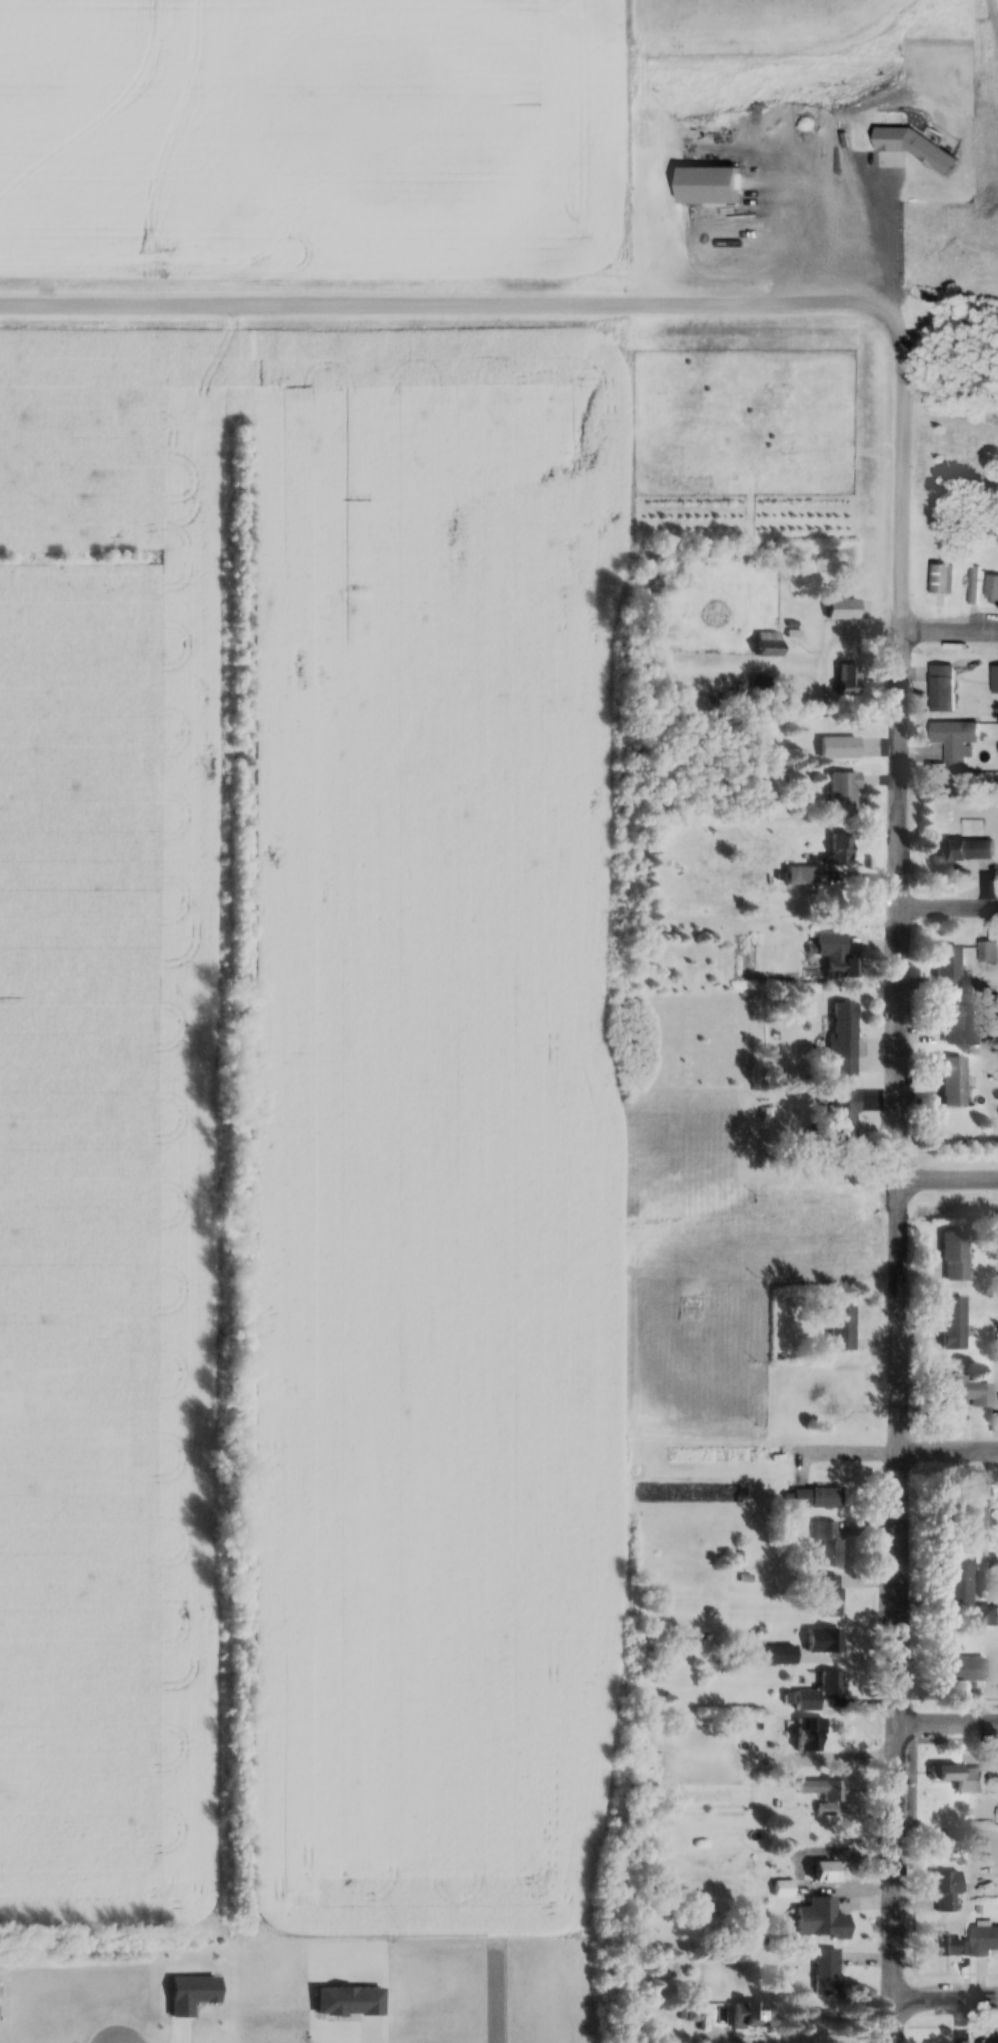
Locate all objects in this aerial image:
road: (439, 300)
building: (940, 579)
building: (975, 585)
building: (991, 589)
building: (839, 610)
road: (950, 627)
building: (845, 677)
building: (994, 680)
building: (942, 690)
building: (787, 696)
building: (949, 740)
building: (837, 748)
building: (840, 793)
building: (837, 848)
building: (964, 849)
building: (802, 876)
road: (949, 902)
building: (987, 952)
building: (831, 955)
building: (944, 969)
building: (949, 1020)
building: (841, 1040)
building: (947, 1080)
building: (842, 1115)
road: (899, 1170)
road: (949, 1170)
building: (951, 1256)
building: (950, 1324)
building: (838, 1328)
building: (962, 1393)
road: (835, 1446)
road: (948, 1446)
building: (823, 1498)
building: (827, 1544)
building: (956, 1582)
building: (828, 1596)
building: (986, 1616)
building: (828, 1641)
building: (960, 1669)
building: (819, 1692)
road: (948, 1719)
building: (647, 1760)
building: (970, 1778)
building: (823, 1793)
building: (997, 1816)
building: (940, 1849)
building: (823, 1873)
building: (945, 1884)
building: (819, 1920)
building: (983, 1942)
building: (824, 1973)
road: (496, 1989)
road: (945, 1997)
building: (693, 2013)
building: (748, 2016)

